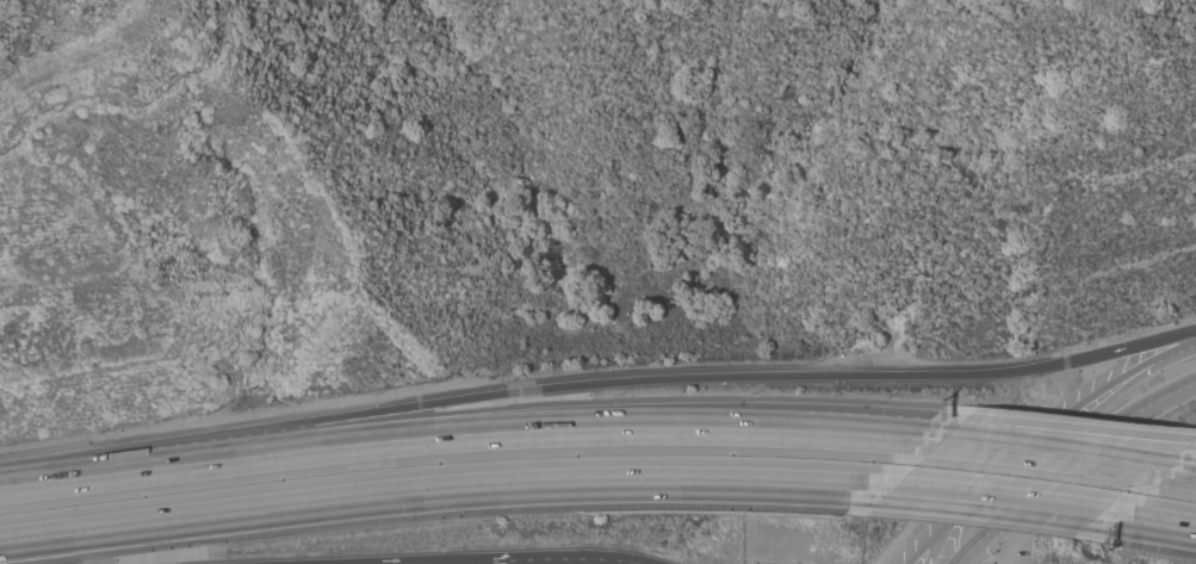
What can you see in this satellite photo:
road: (1194, 380)
road: (596, 386)
road: (857, 417)
road: (1080, 429)
road: (469, 434)
road: (1042, 439)
road: (1195, 441)
road: (1047, 453)
road: (1065, 457)
road: (1173, 471)
road: (442, 494)
road: (990, 503)
road: (1144, 525)
road: (955, 534)
road: (557, 560)
road: (413, 562)

